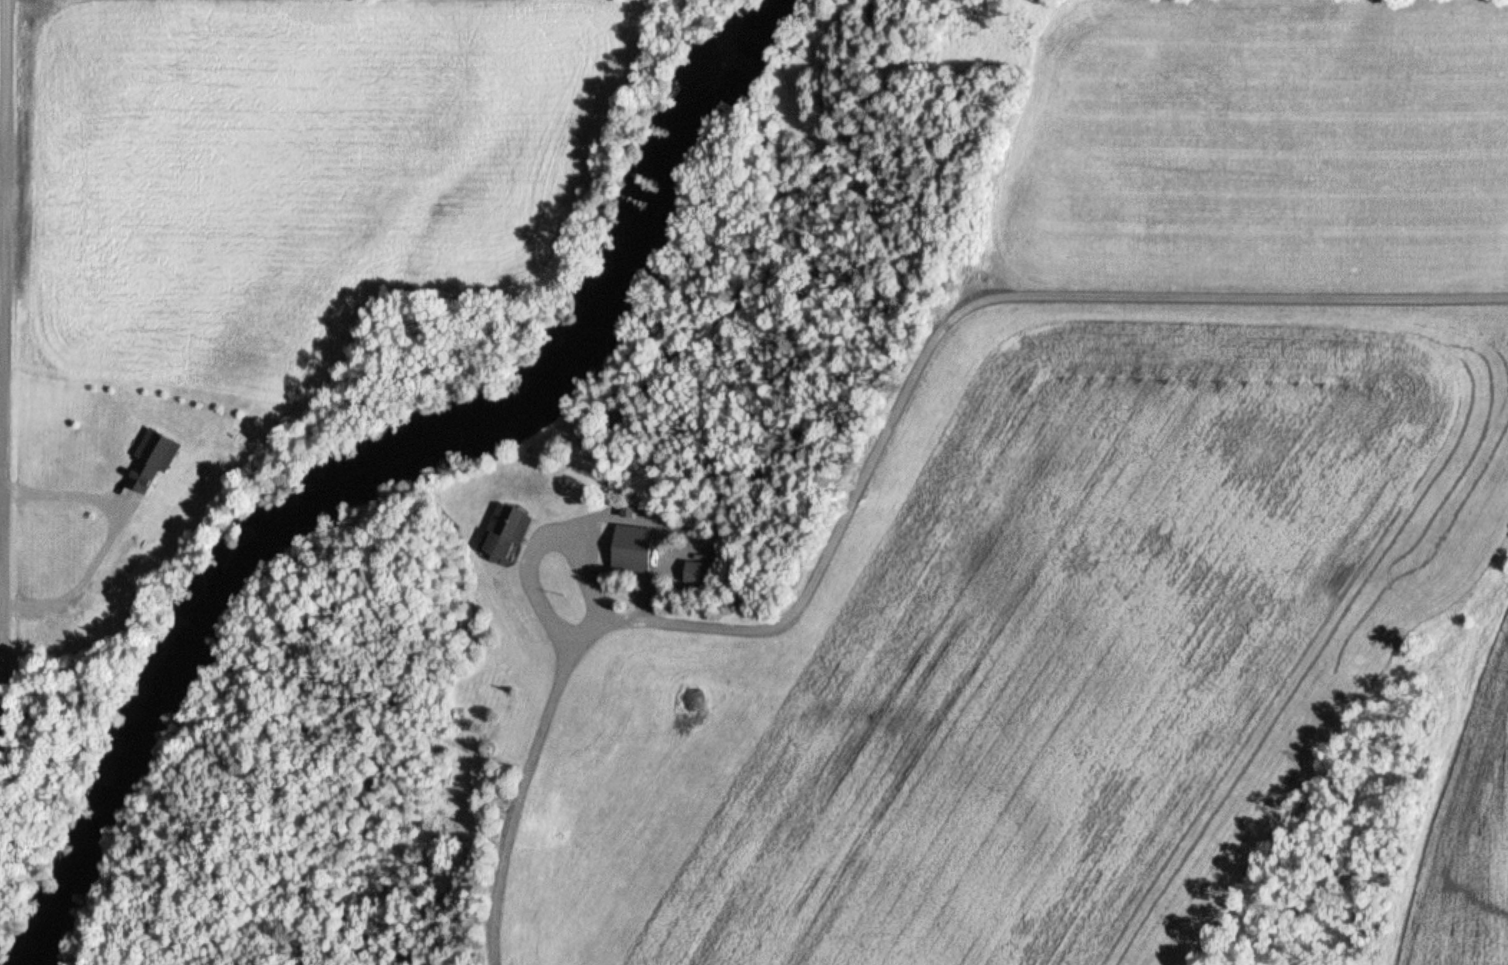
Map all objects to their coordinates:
road: (1, 125)
building: (159, 454)
river: (378, 472)
road: (873, 472)
road: (61, 495)
building: (635, 508)
road: (592, 522)
building: (513, 528)
building: (638, 545)
building: (704, 573)
road: (83, 575)
road: (595, 576)

